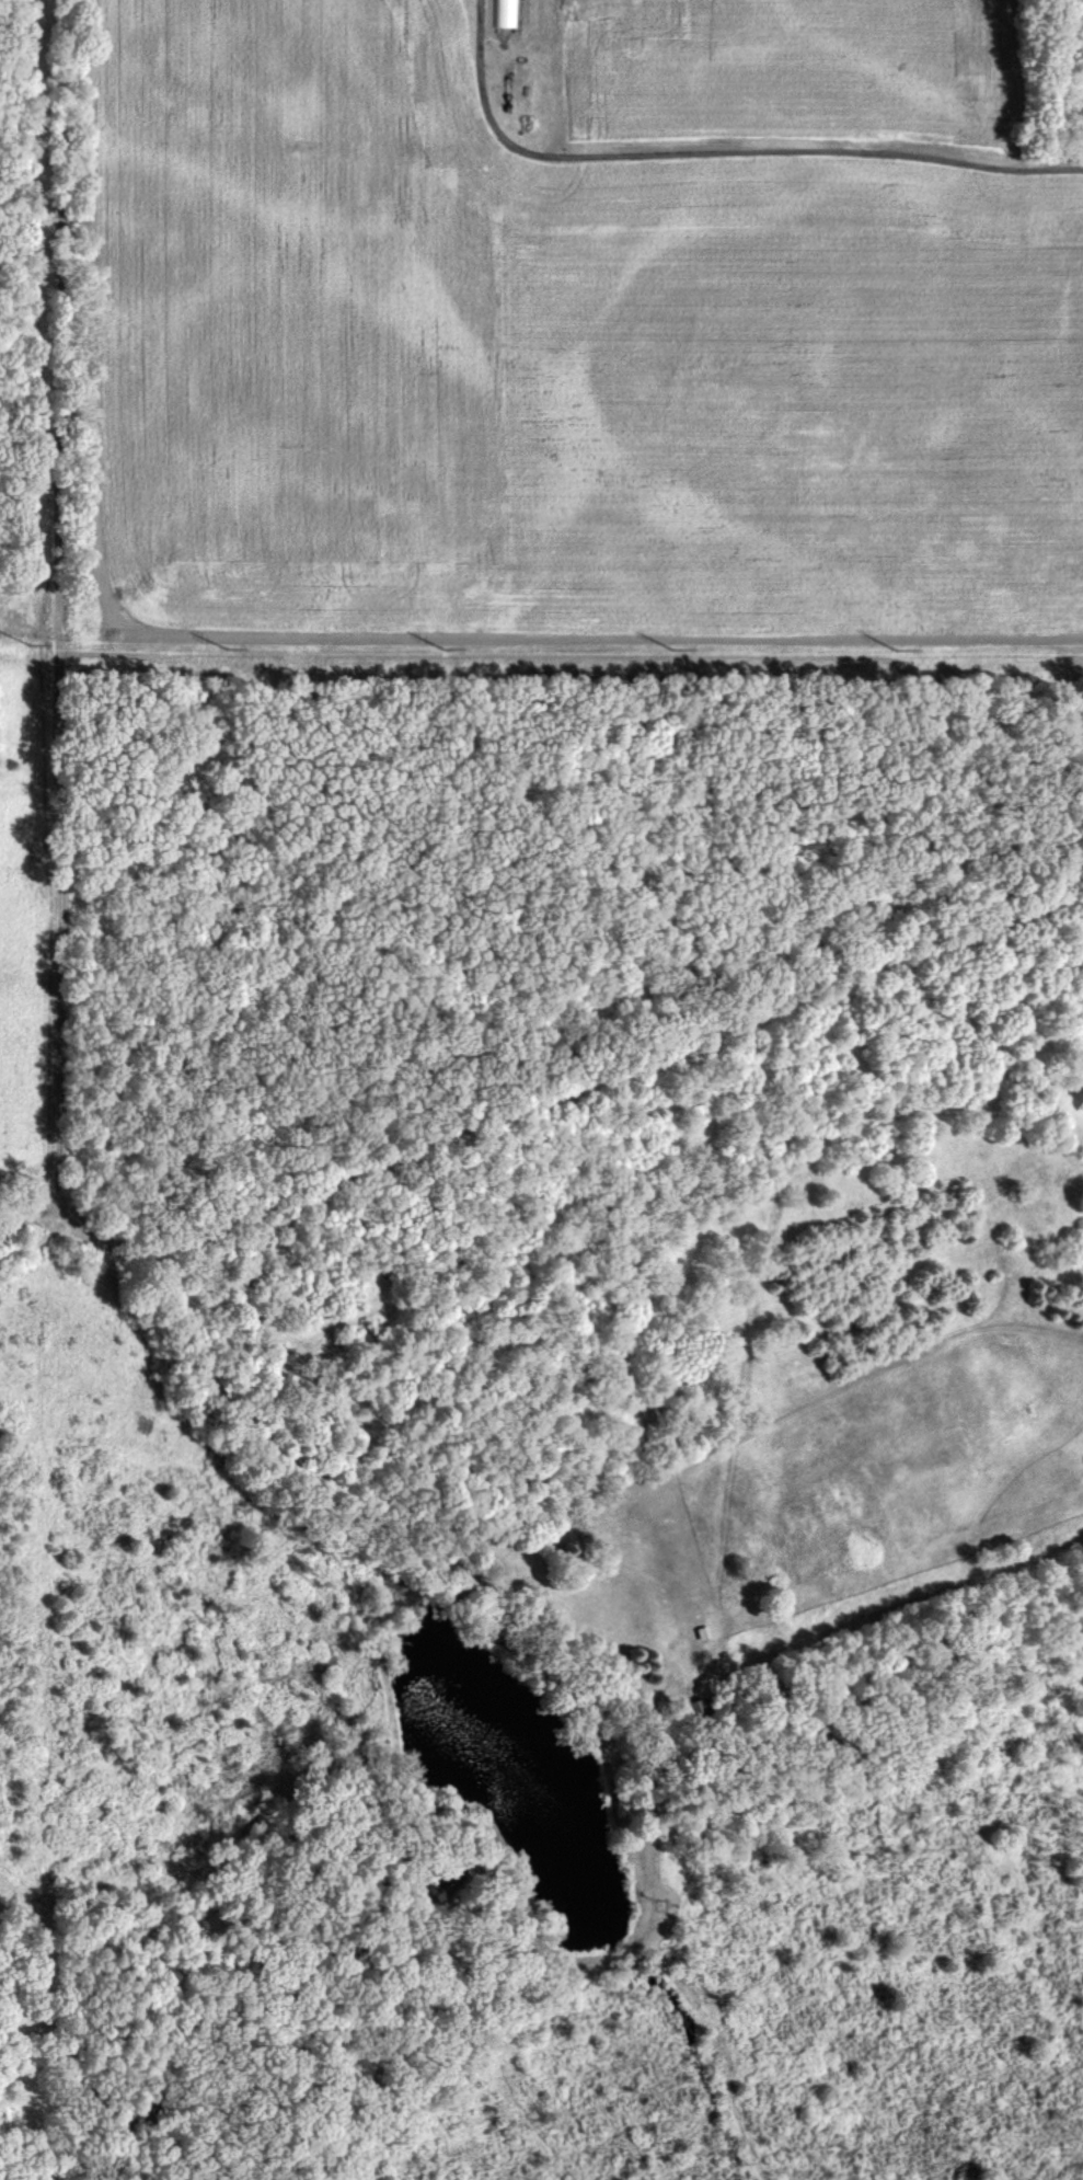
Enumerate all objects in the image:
building: (504, 13)
road: (229, 690)
building: (691, 1716)
building: (140, 2111)

